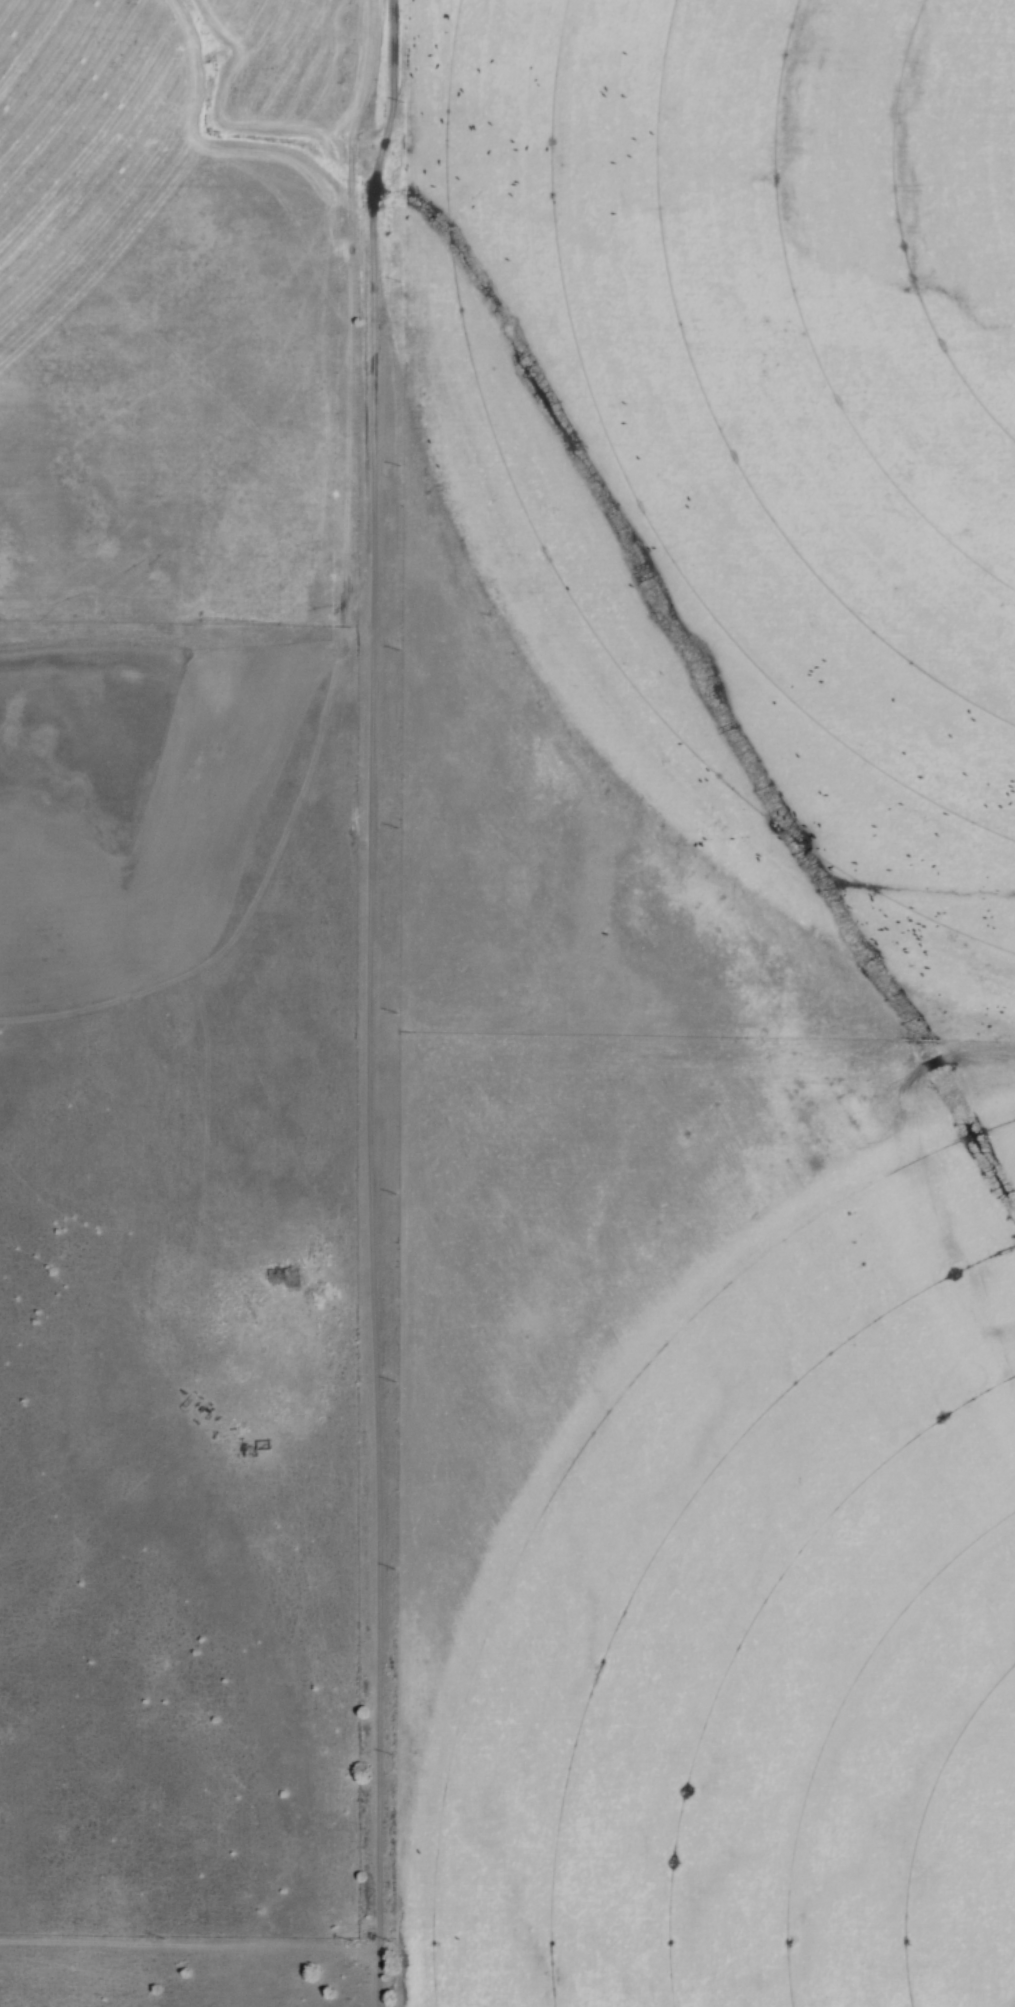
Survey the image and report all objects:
crop: (173, 68)
crop: (174, 379)
crop: (741, 440)
crop: (144, 796)
road: (370, 1002)
crop: (747, 1608)

